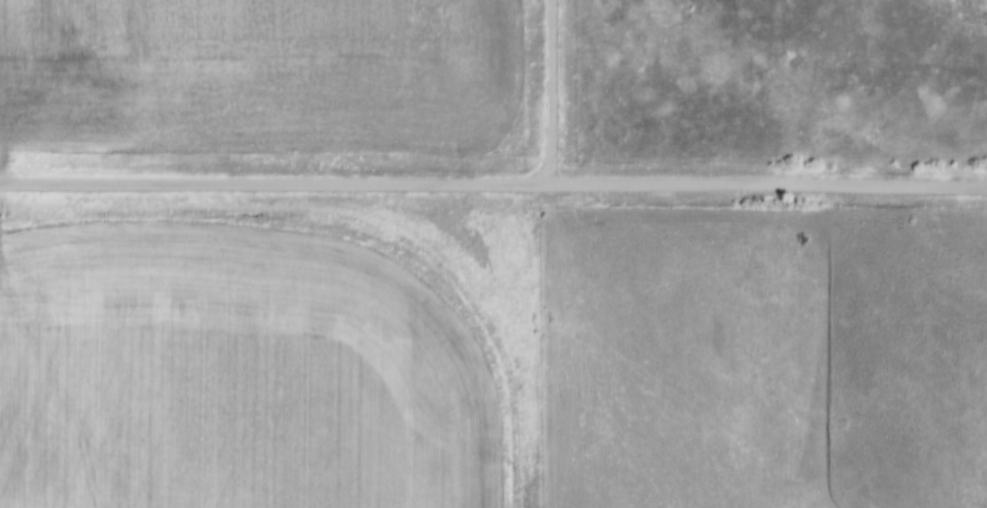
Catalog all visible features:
road: (552, 93)
road: (493, 186)

